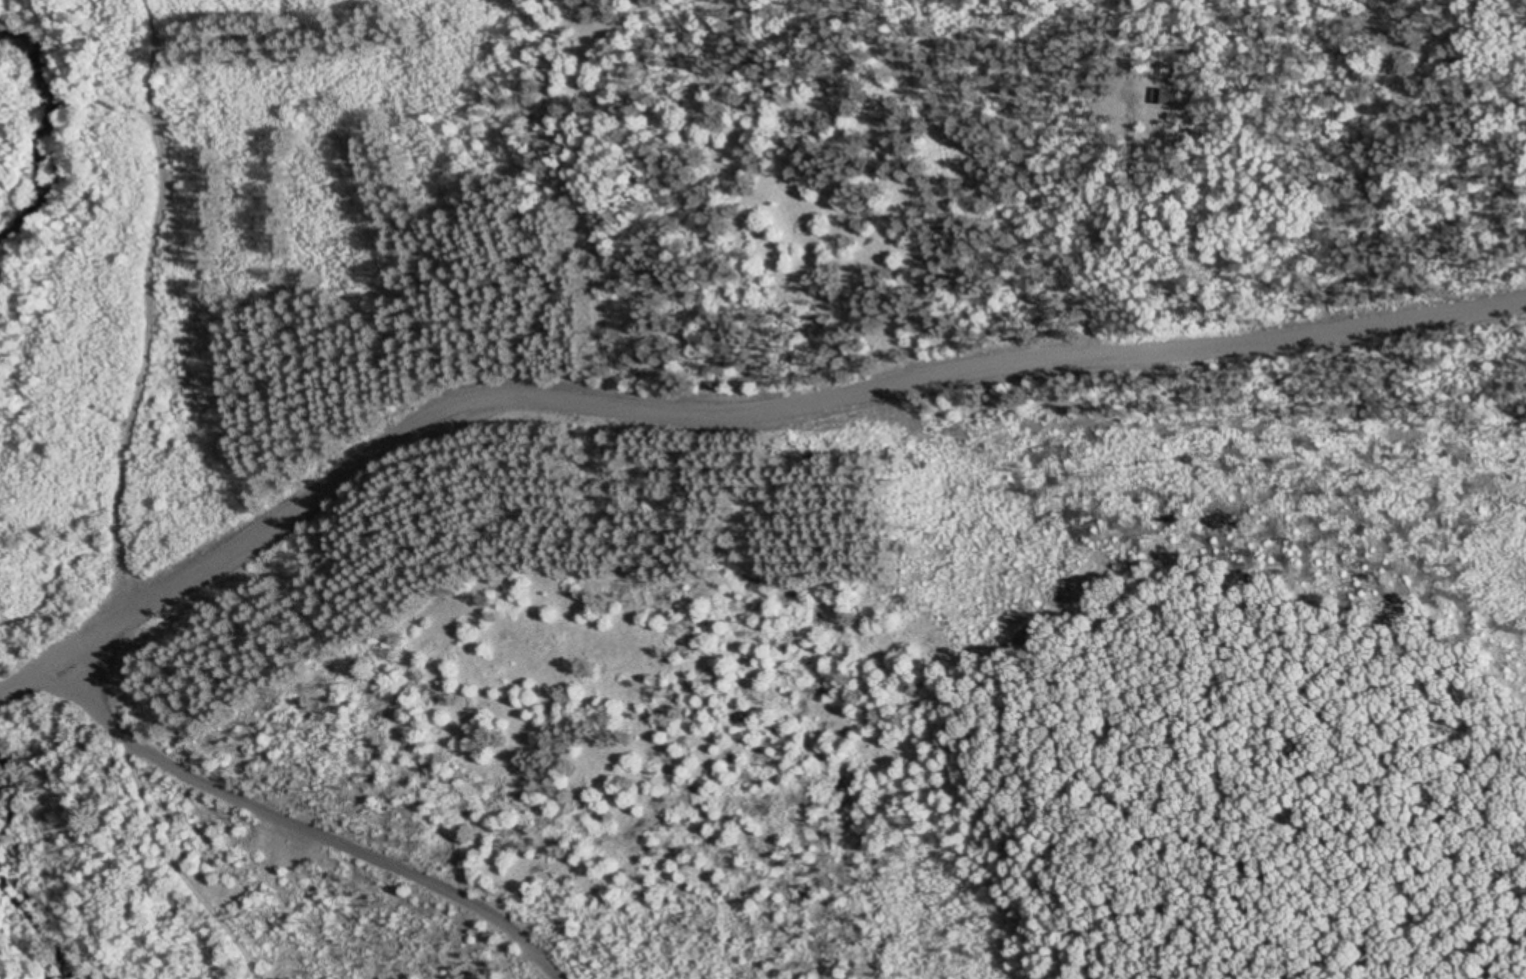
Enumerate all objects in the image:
building: (1161, 98)
road: (132, 307)
road: (725, 404)
road: (299, 811)

